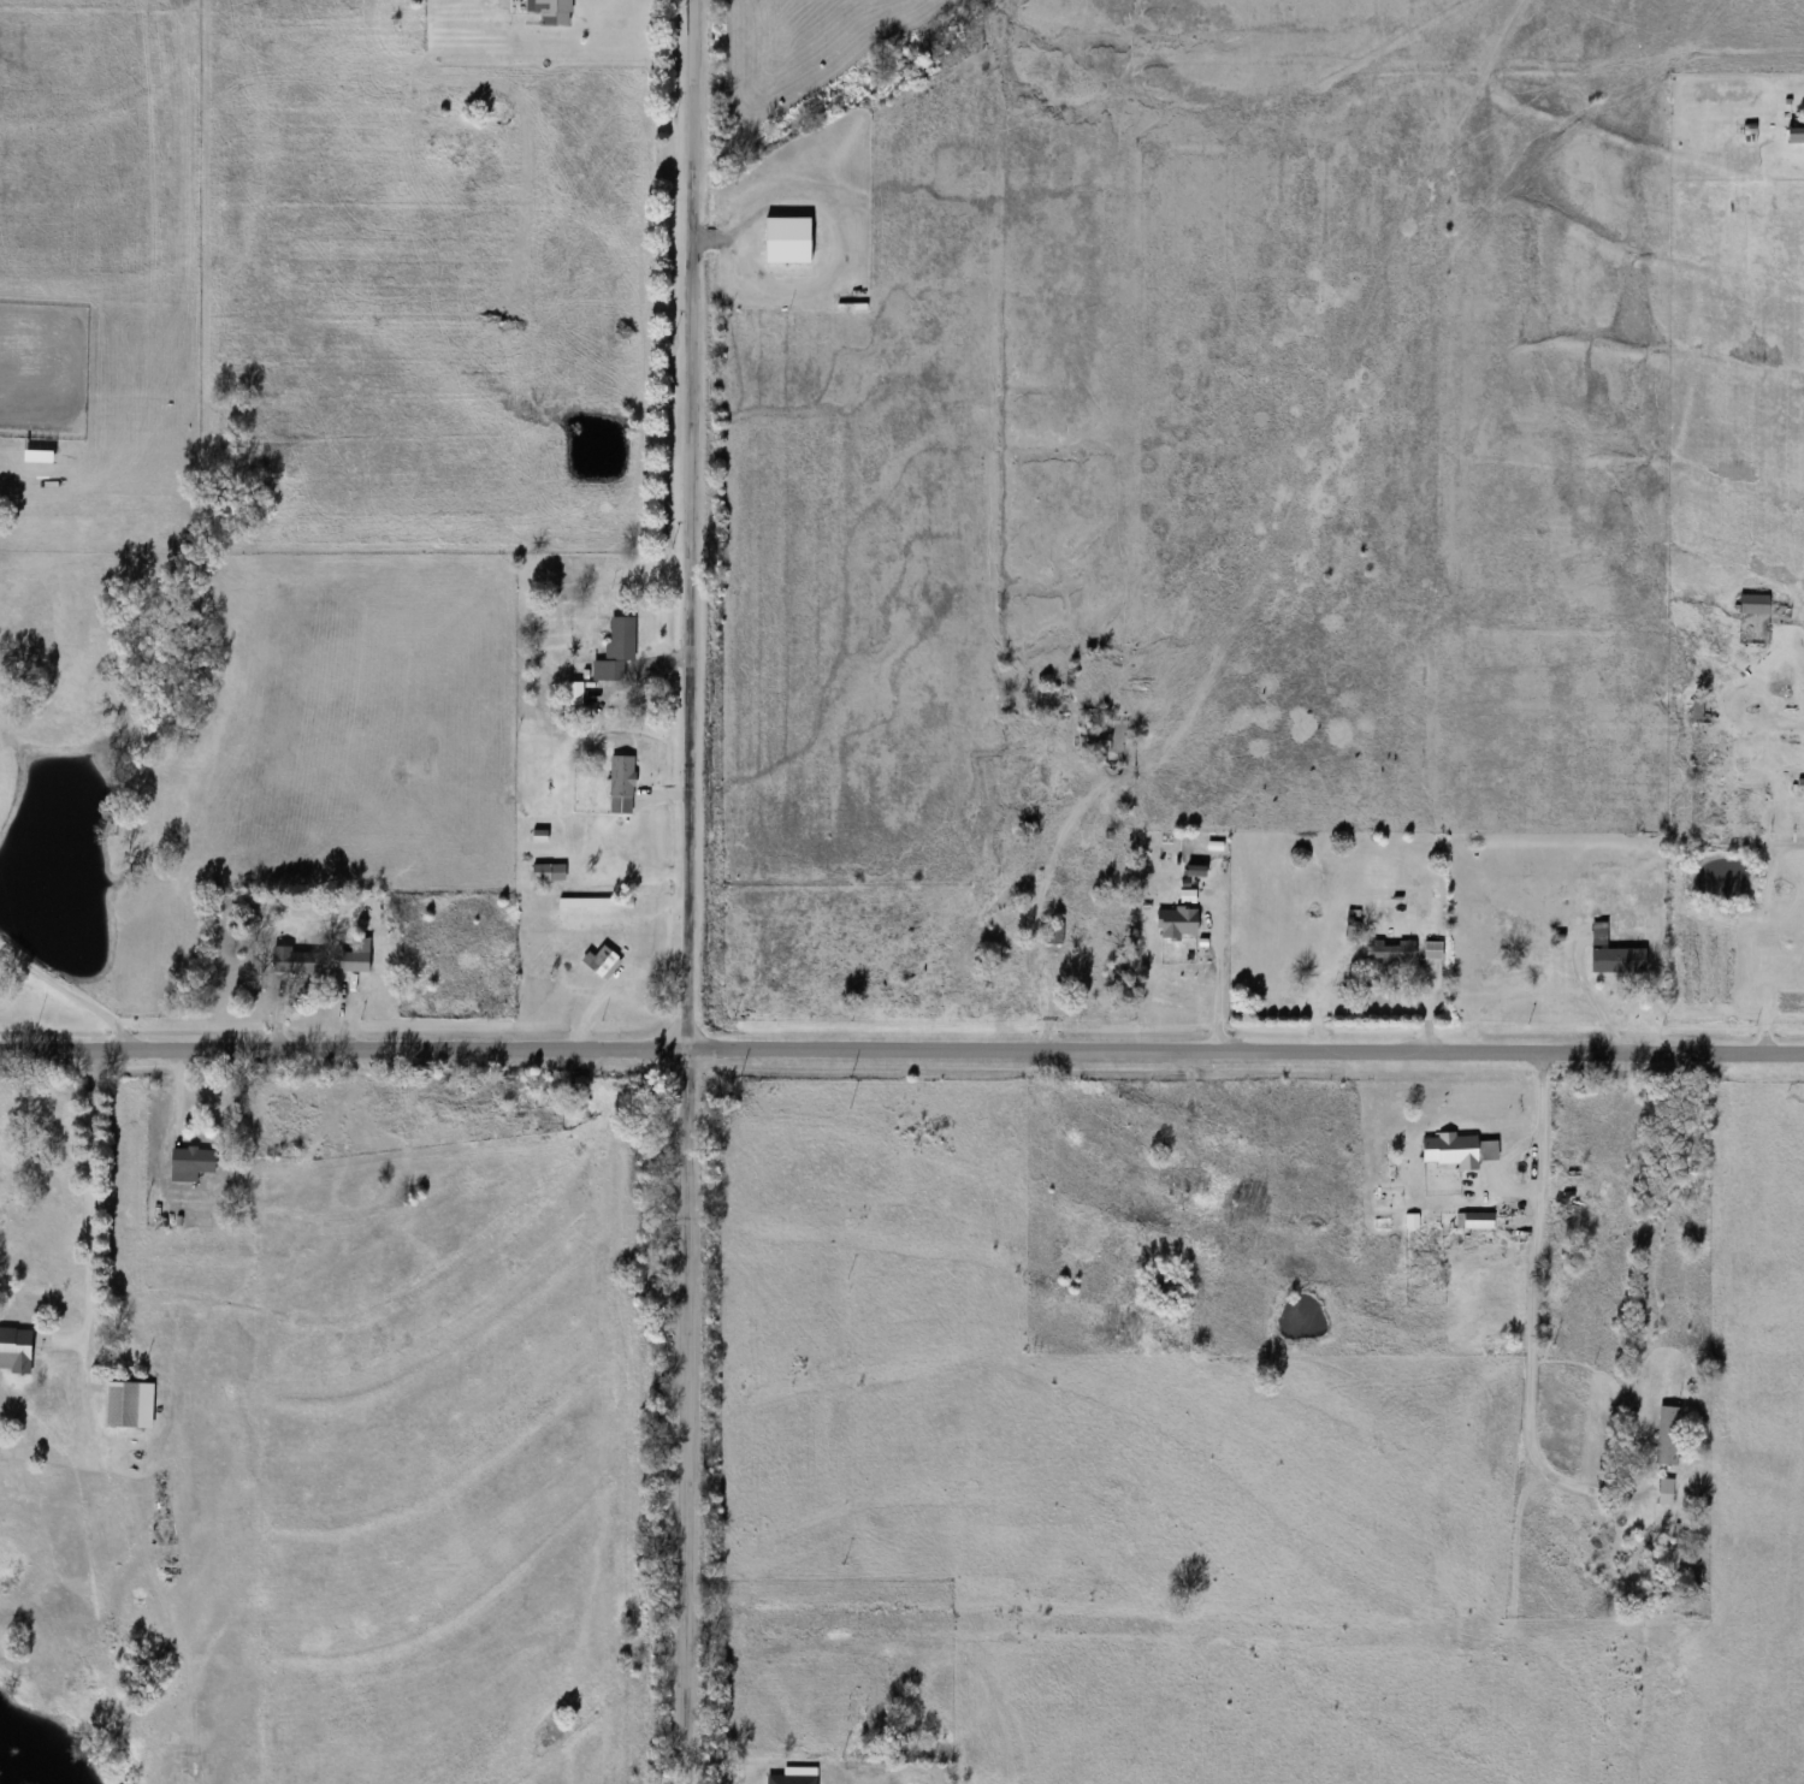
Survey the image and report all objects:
building: (551, 11)
building: (1797, 130)
building: (788, 239)
road: (692, 528)
building: (1755, 604)
building: (616, 650)
building: (1698, 709)
building: (1099, 740)
building: (622, 783)
building: (549, 872)
building: (596, 902)
building: (1197, 925)
building: (1053, 934)
building: (1167, 941)
building: (1433, 949)
building: (1391, 952)
building: (356, 958)
building: (297, 961)
building: (601, 961)
building: (1619, 961)
building: (1515, 973)
road: (901, 1055)
road: (952, 1102)
building: (1459, 1150)
building: (191, 1163)
building: (1183, 1178)
road: (95, 1215)
building: (1474, 1220)
road: (1536, 1321)
building: (16, 1350)
building: (129, 1405)
road: (690, 1420)
building: (1668, 1435)
building: (1666, 1492)
building: (793, 1778)

